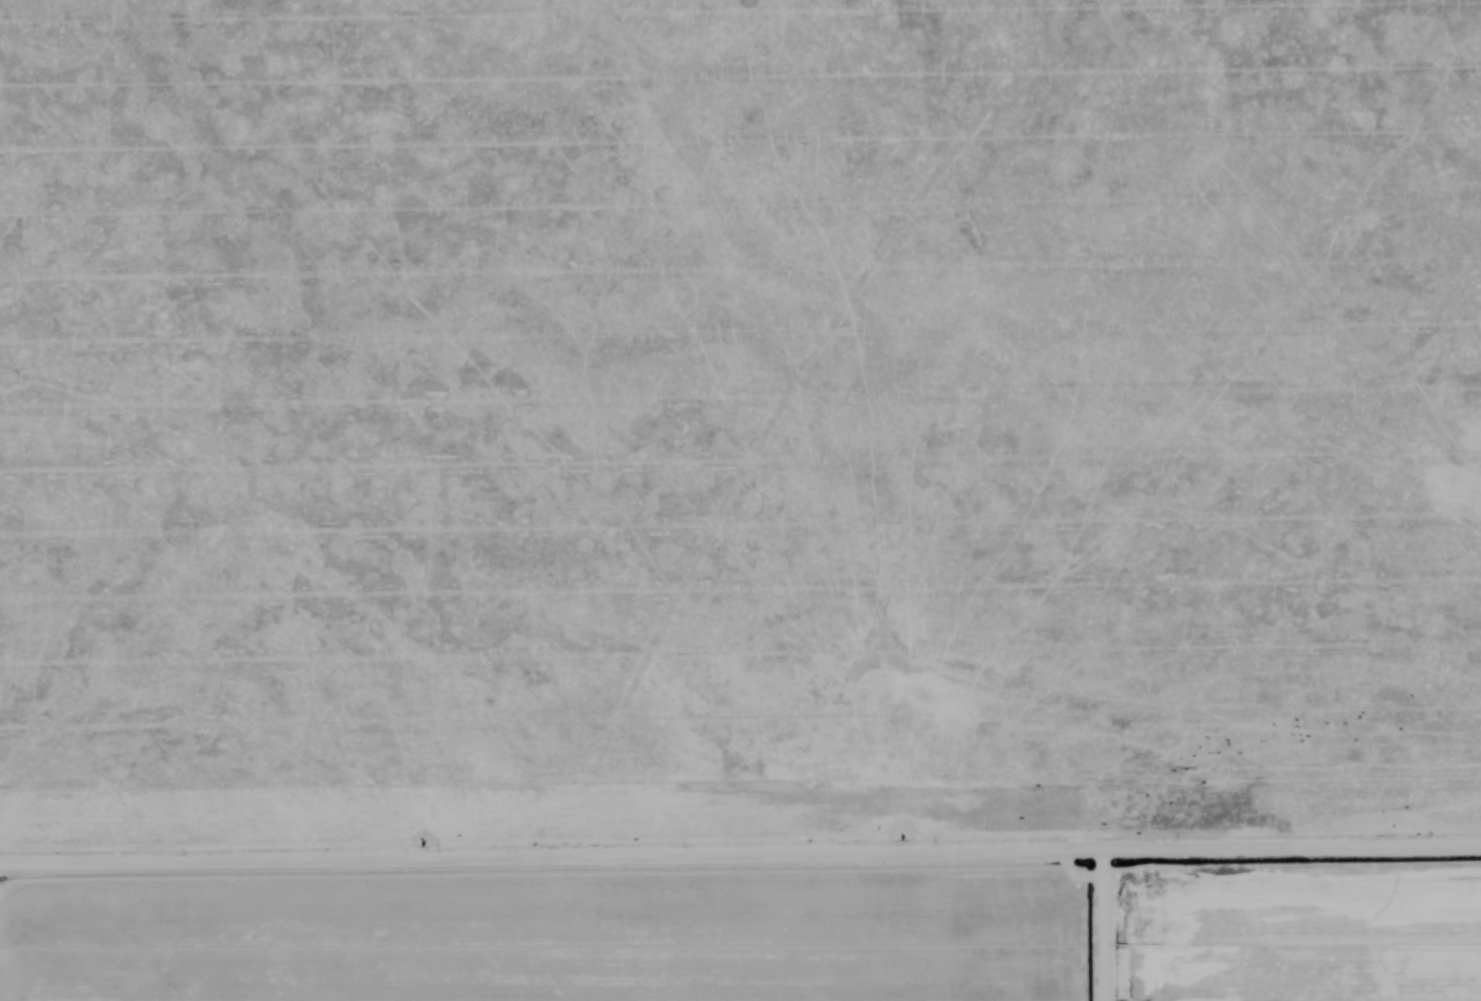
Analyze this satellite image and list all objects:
crop: (740, 500)

